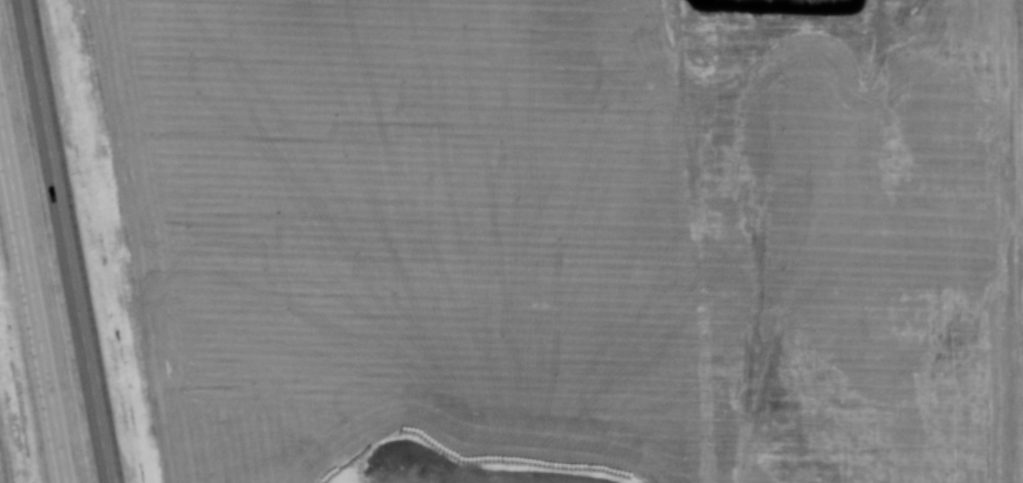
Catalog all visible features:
road: (69, 241)

